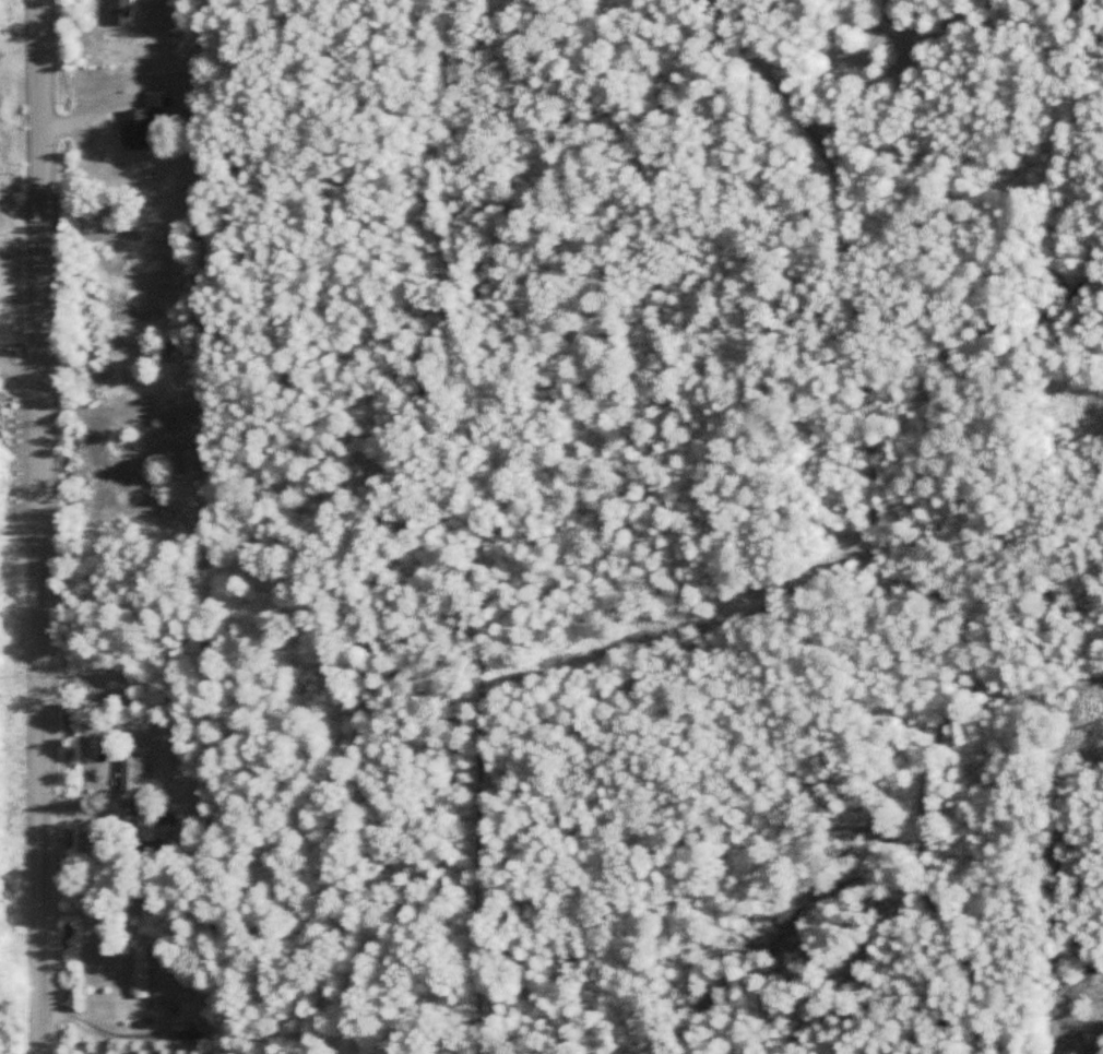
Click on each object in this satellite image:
building: (120, 12)
building: (134, 129)
building: (165, 352)
road: (22, 376)
road: (44, 526)
building: (130, 771)
building: (146, 825)
building: (140, 978)
building: (170, 984)

